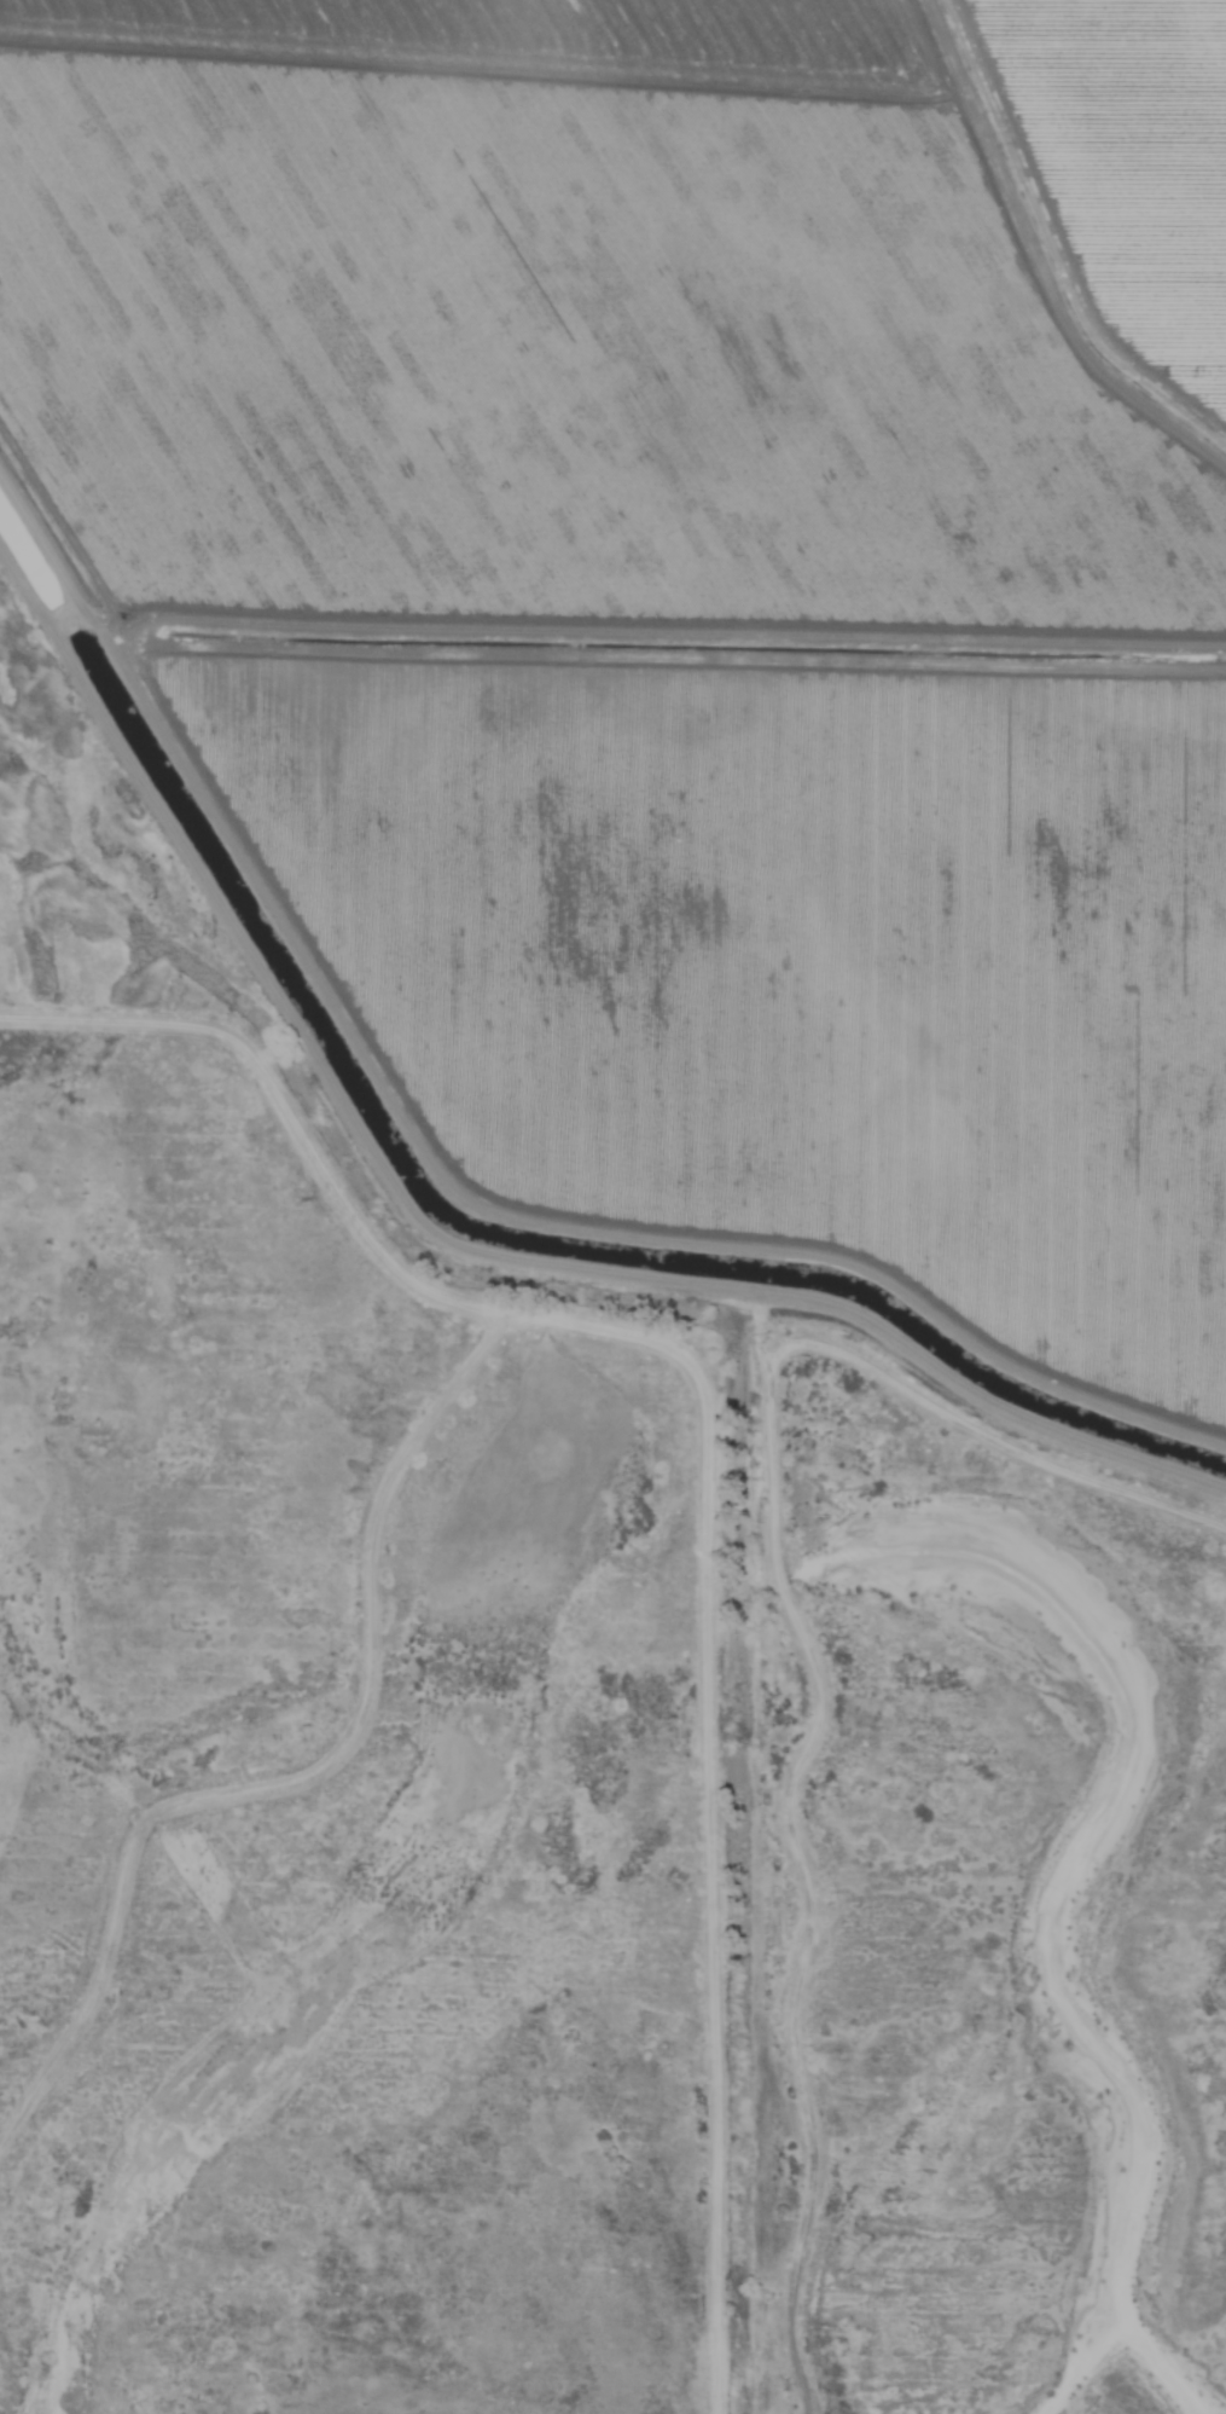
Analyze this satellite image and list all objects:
crop: (687, 608)
road: (684, 629)

